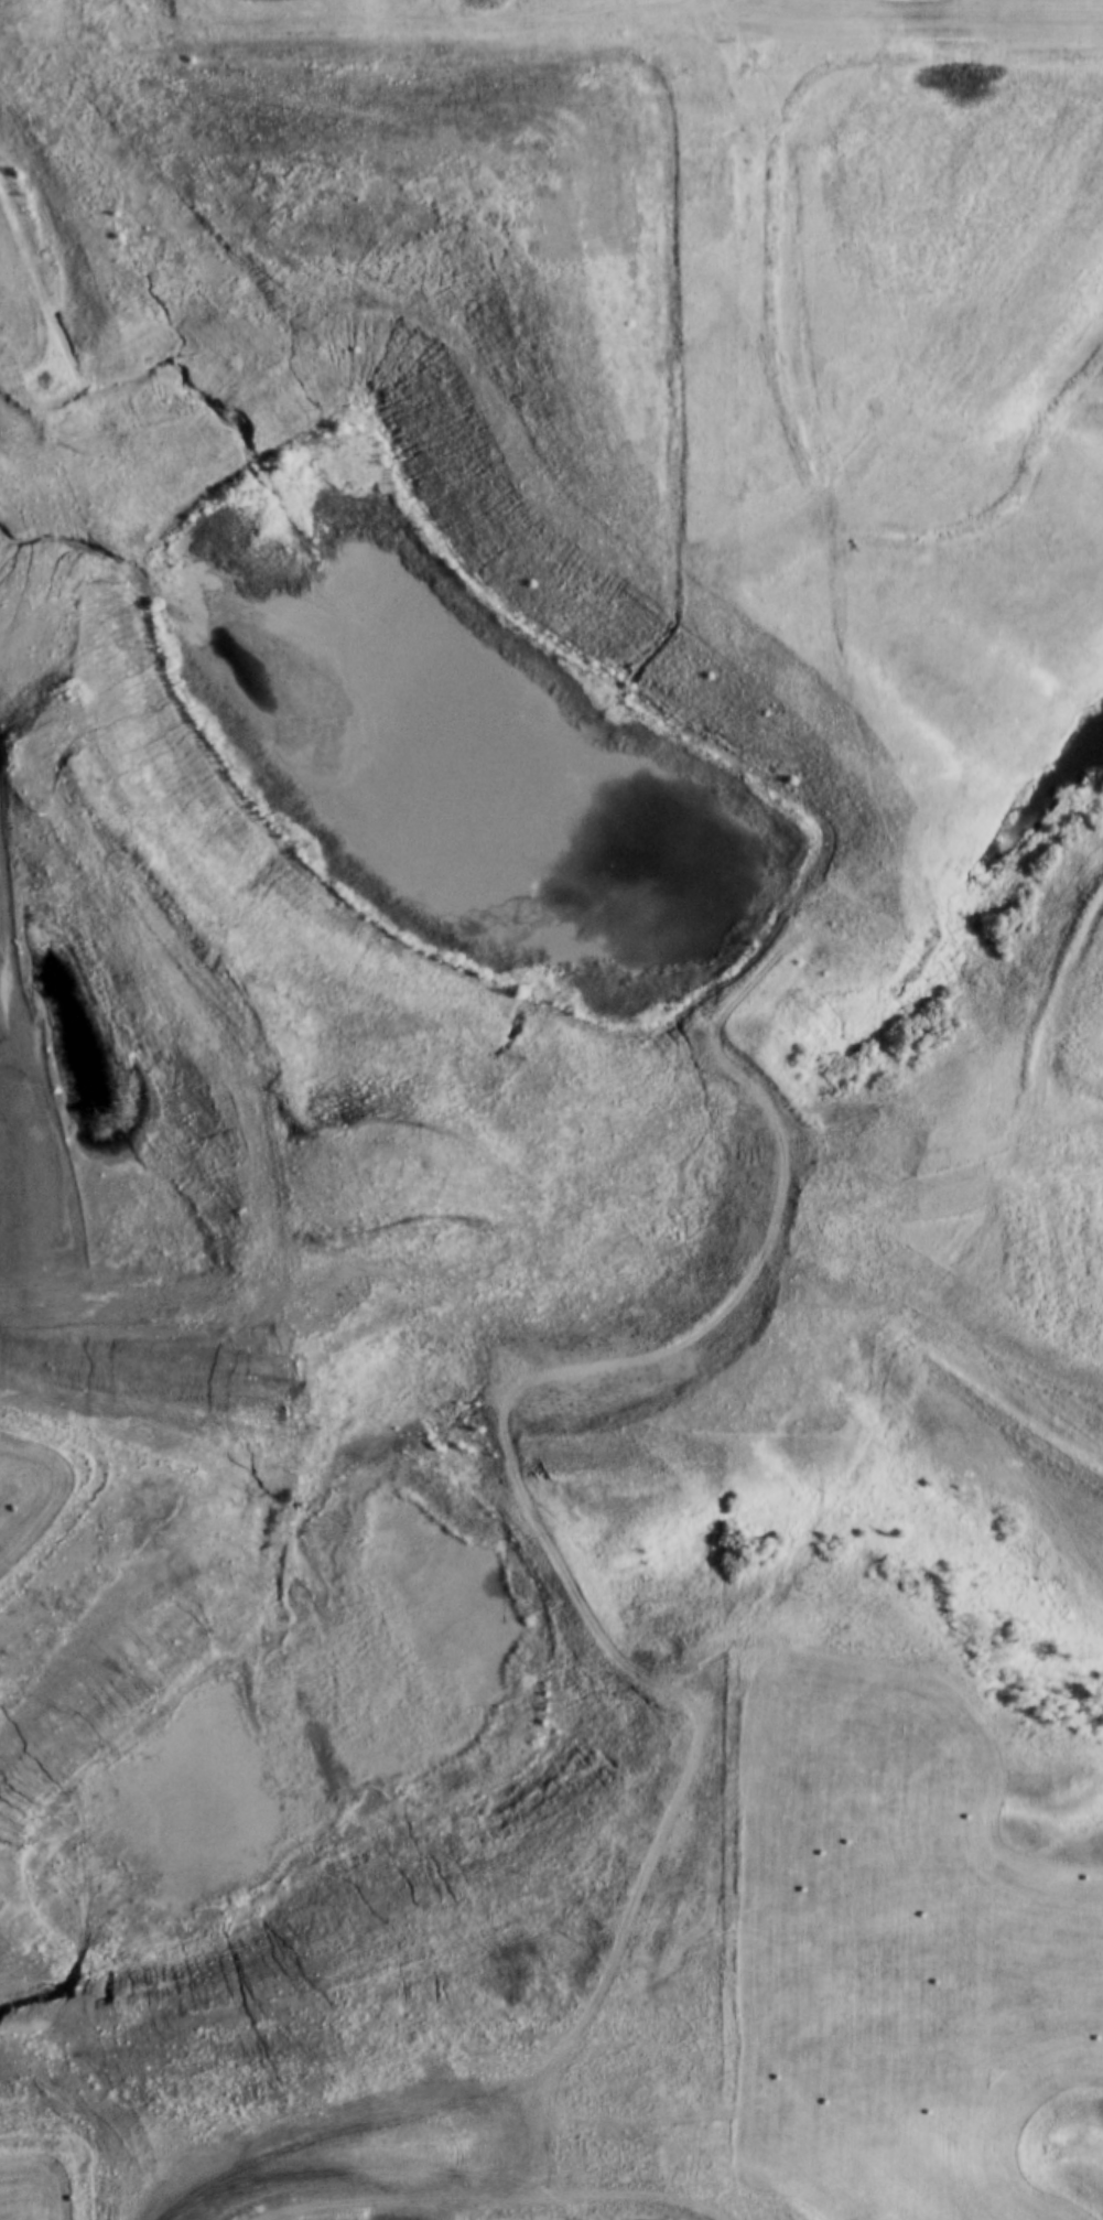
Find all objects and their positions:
road: (711, 1)

